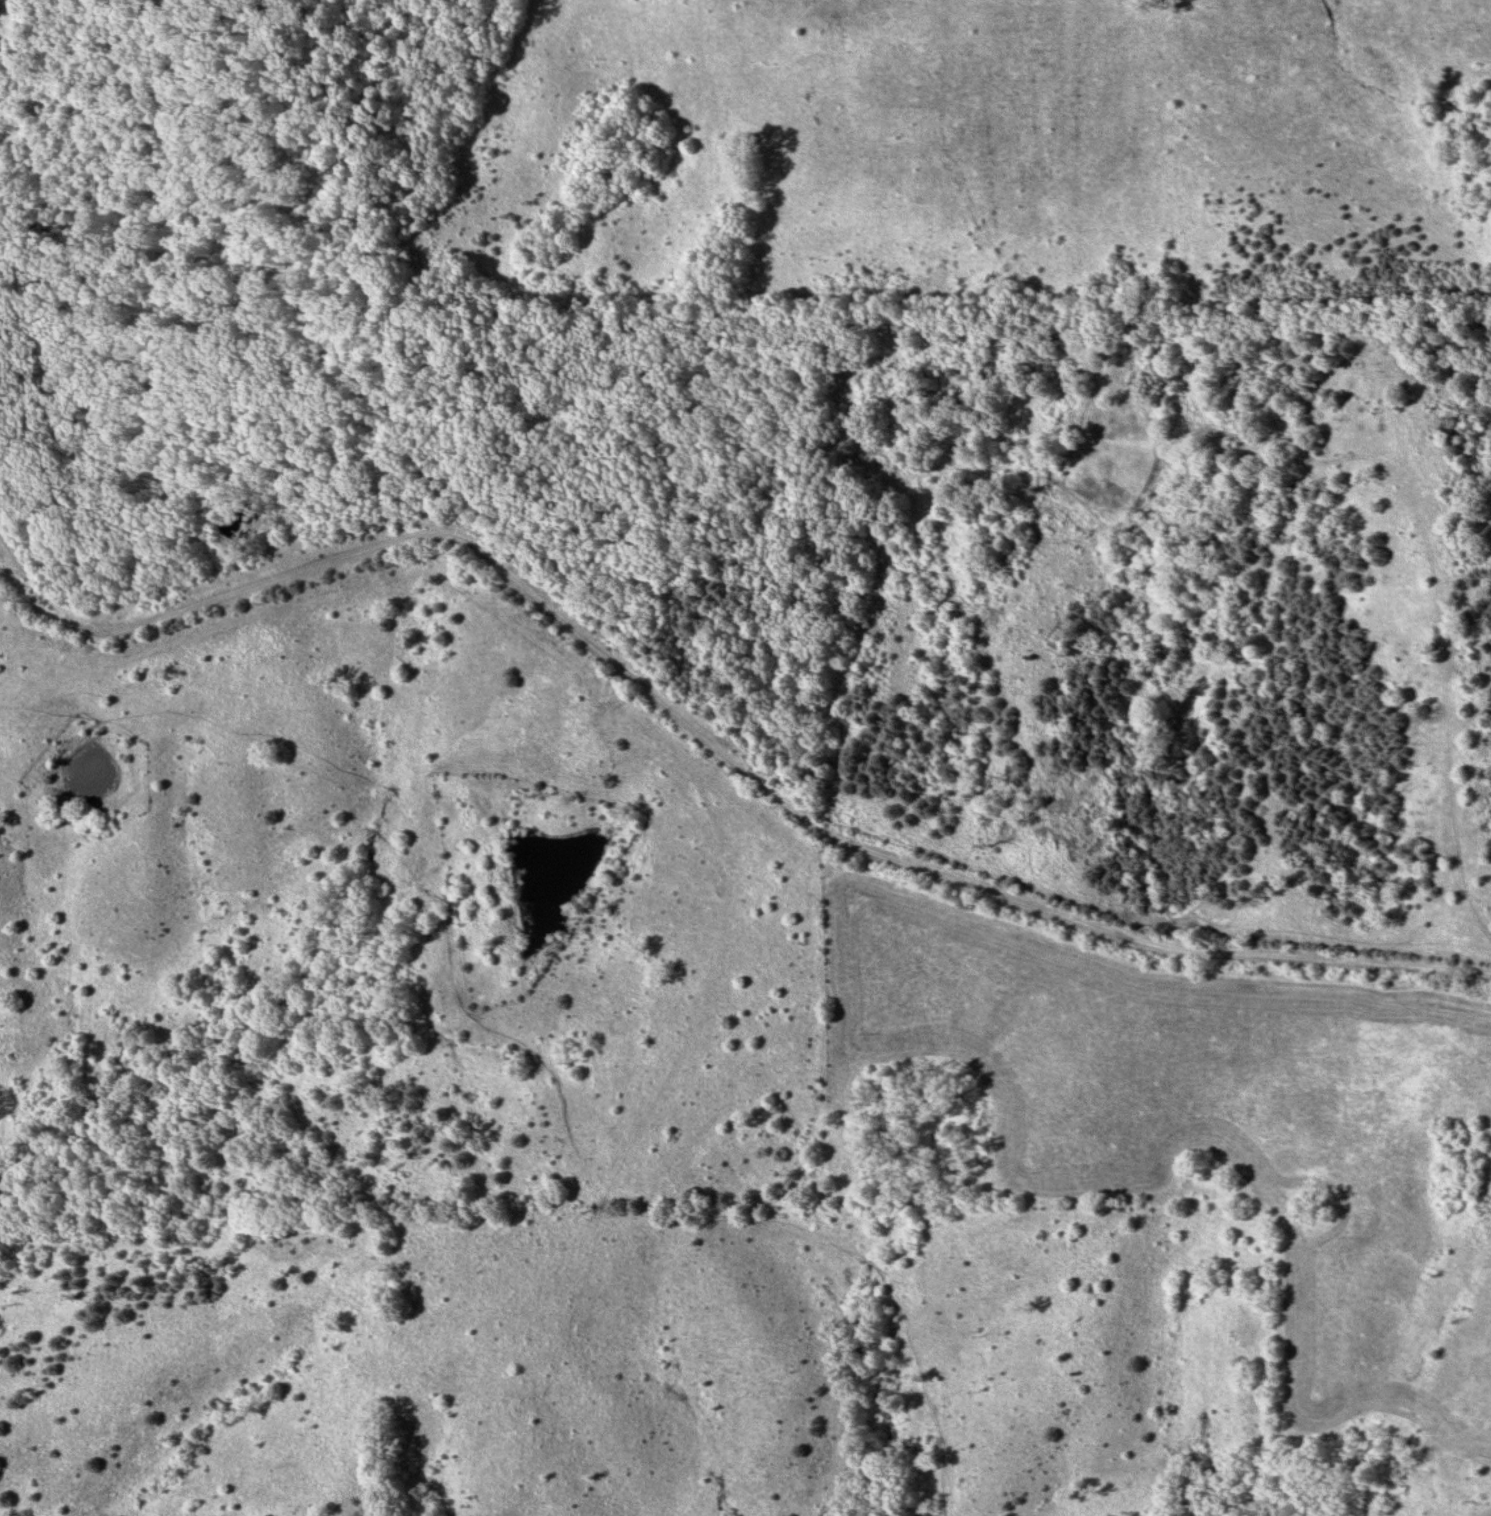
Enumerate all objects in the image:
road: (714, 746)

